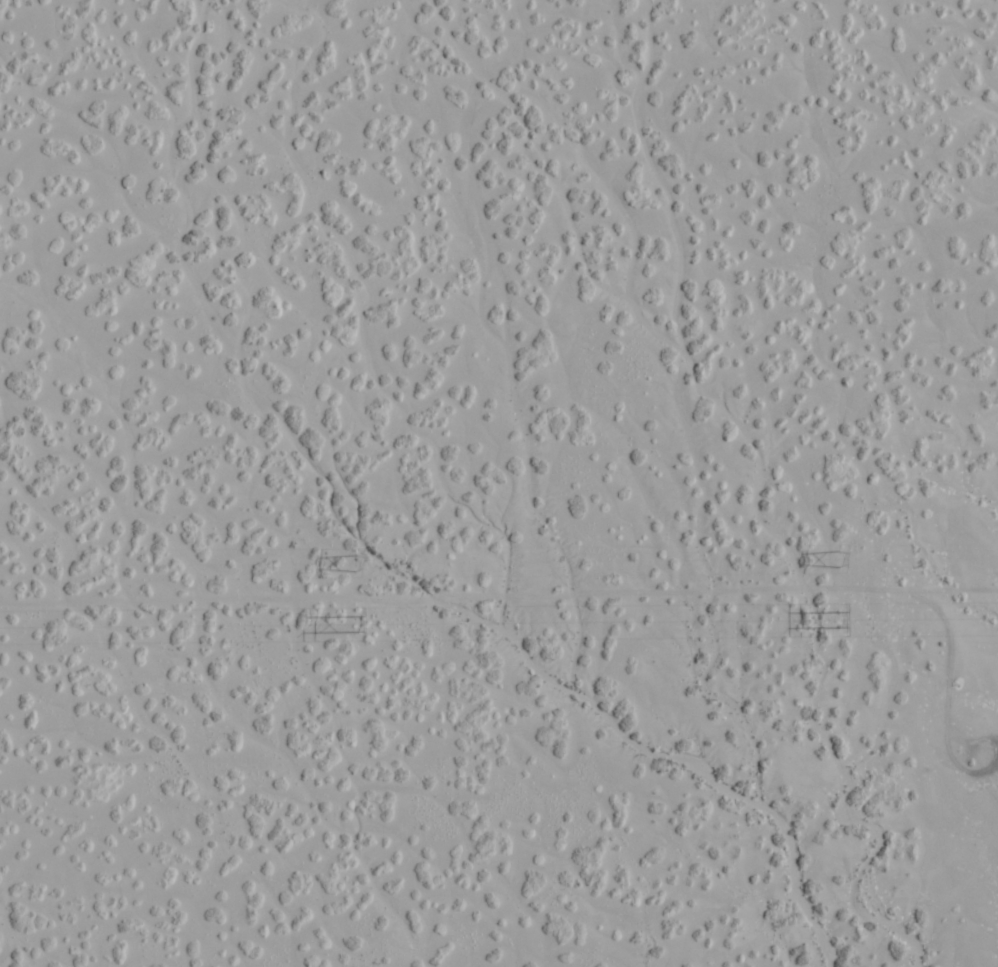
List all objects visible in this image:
power tower: (834, 558)
power tower: (351, 563)
power tower: (837, 619)
power tower: (351, 622)

